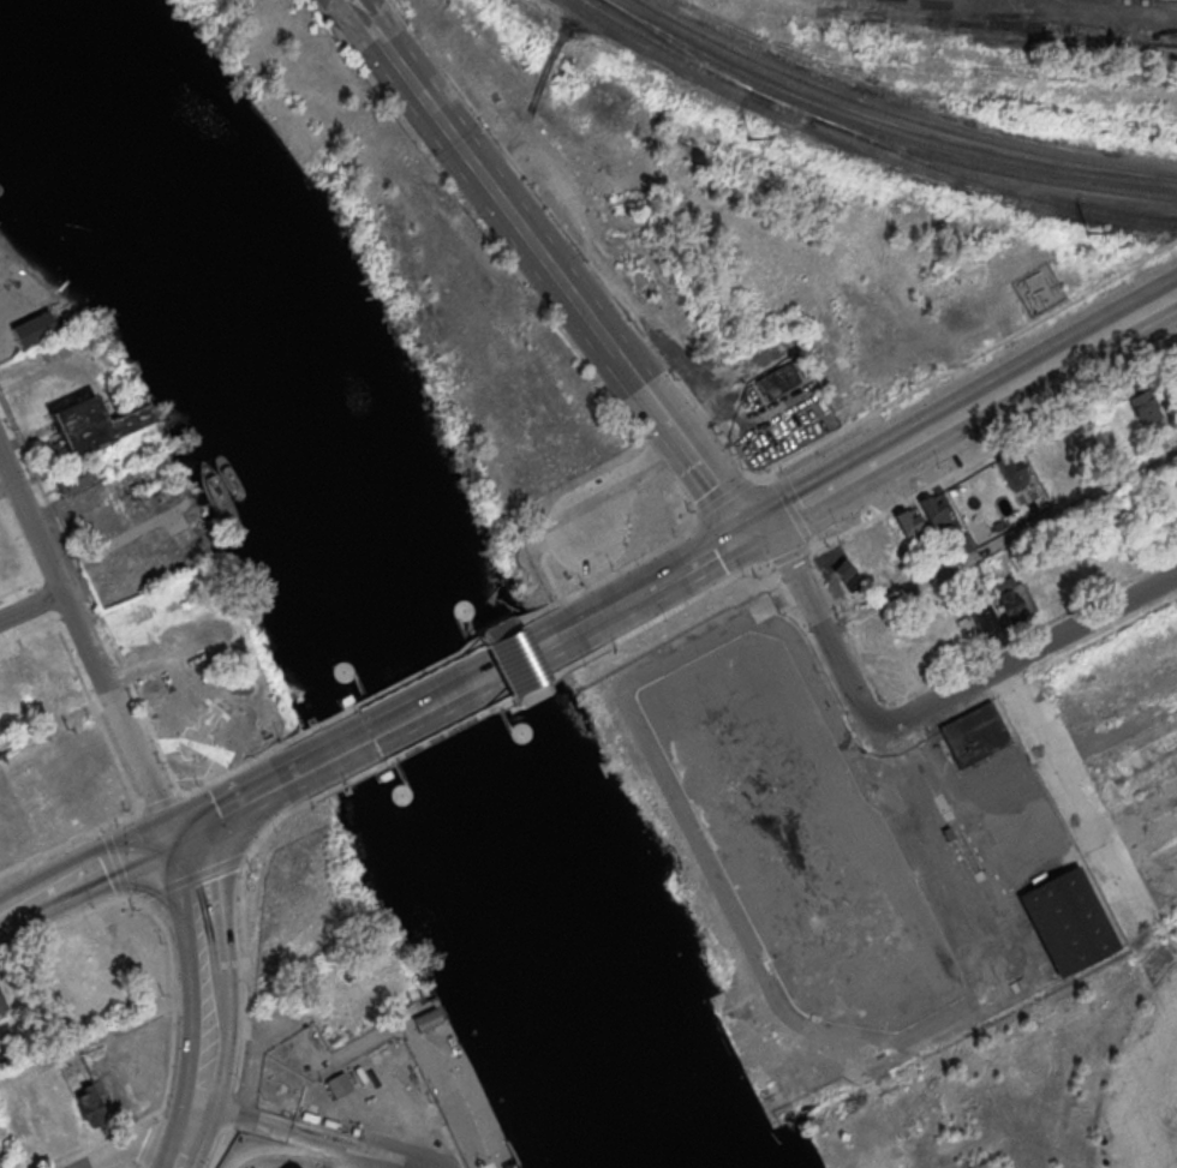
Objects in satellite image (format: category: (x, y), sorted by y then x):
railway: (1152, 1)
river: (7, 42)
railway: (682, 53)
railway: (898, 115)
railway: (878, 127)
power tower: (746, 136)
railway: (866, 137)
railway: (988, 184)
power tower: (1080, 227)
road: (549, 269)
building: (32, 327)
road: (967, 363)
road: (1062, 366)
building: (776, 379)
building: (1141, 405)
building: (92, 424)
road: (921, 441)
building: (1157, 442)
road: (993, 451)
building: (1011, 469)
building: (71, 480)
road: (6, 483)
road: (828, 492)
road: (619, 495)
road: (725, 496)
building: (1176, 501)
building: (933, 510)
road: (789, 511)
road: (31, 522)
building: (908, 523)
building: (997, 525)
traffic signals: (759, 529)
road: (999, 539)
road: (788, 558)
road: (633, 563)
building: (847, 574)
road: (661, 580)
river: (375, 581)
building: (1009, 601)
road: (31, 605)
road: (674, 609)
building: (984, 615)
road: (817, 619)
road: (549, 639)
road: (1023, 658)
road: (422, 673)
road: (465, 683)
road: (116, 715)
fountain: (205, 720)
park: (221, 720)
road: (448, 729)
building: (974, 732)
road: (348, 747)
road: (231, 771)
road: (159, 803)
road: (235, 807)
traffic signals: (172, 840)
road: (70, 841)
road: (104, 870)
road: (18, 909)
building: (1069, 920)
road: (209, 1004)
building: (0, 1005)
building: (425, 1018)
road: (102, 1029)
building: (89, 1107)
road: (287, 1128)
road: (139, 1142)

